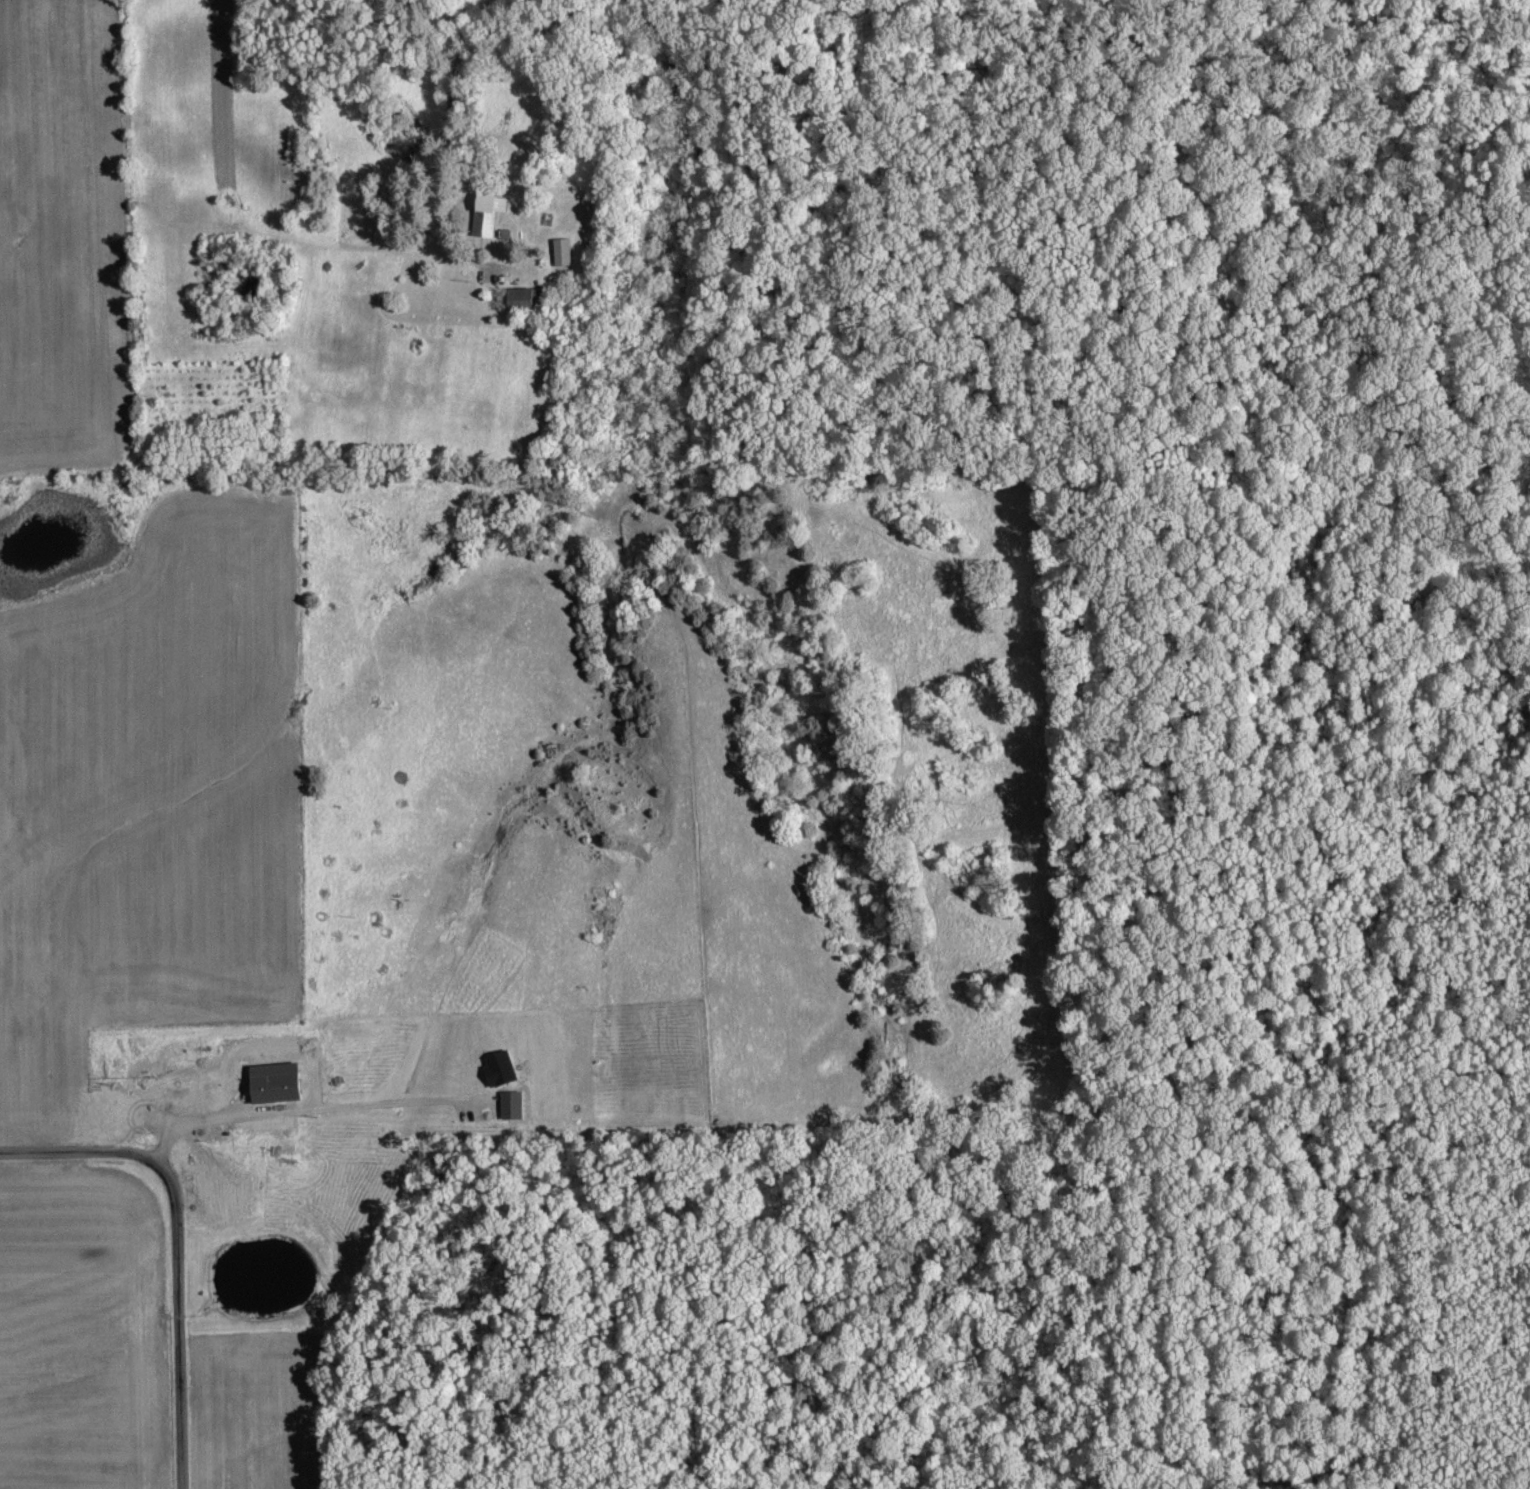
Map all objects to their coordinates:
road: (445, 145)
building: (488, 215)
building: (564, 252)
building: (527, 301)
building: (181, 1086)
building: (121, 1130)
building: (225, 1202)
road: (173, 1247)

